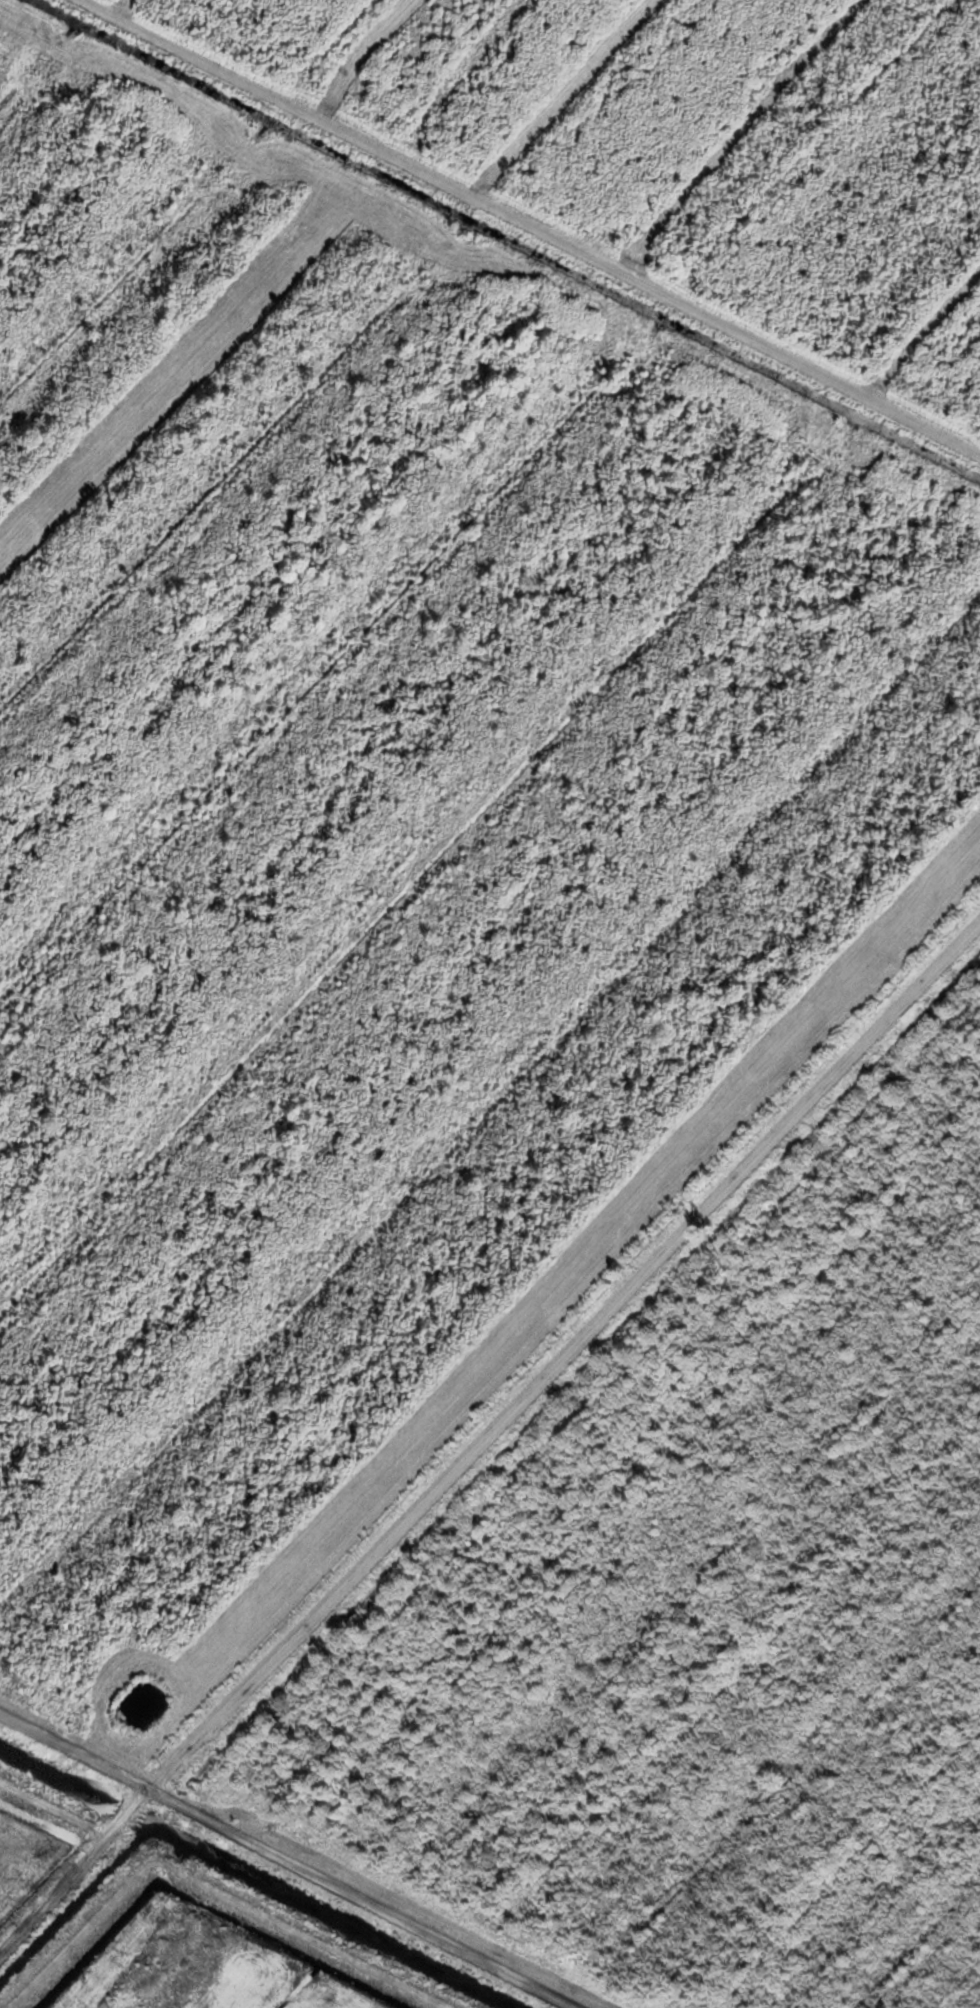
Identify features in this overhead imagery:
road: (542, 222)
road: (497, 1441)
road: (283, 1861)

